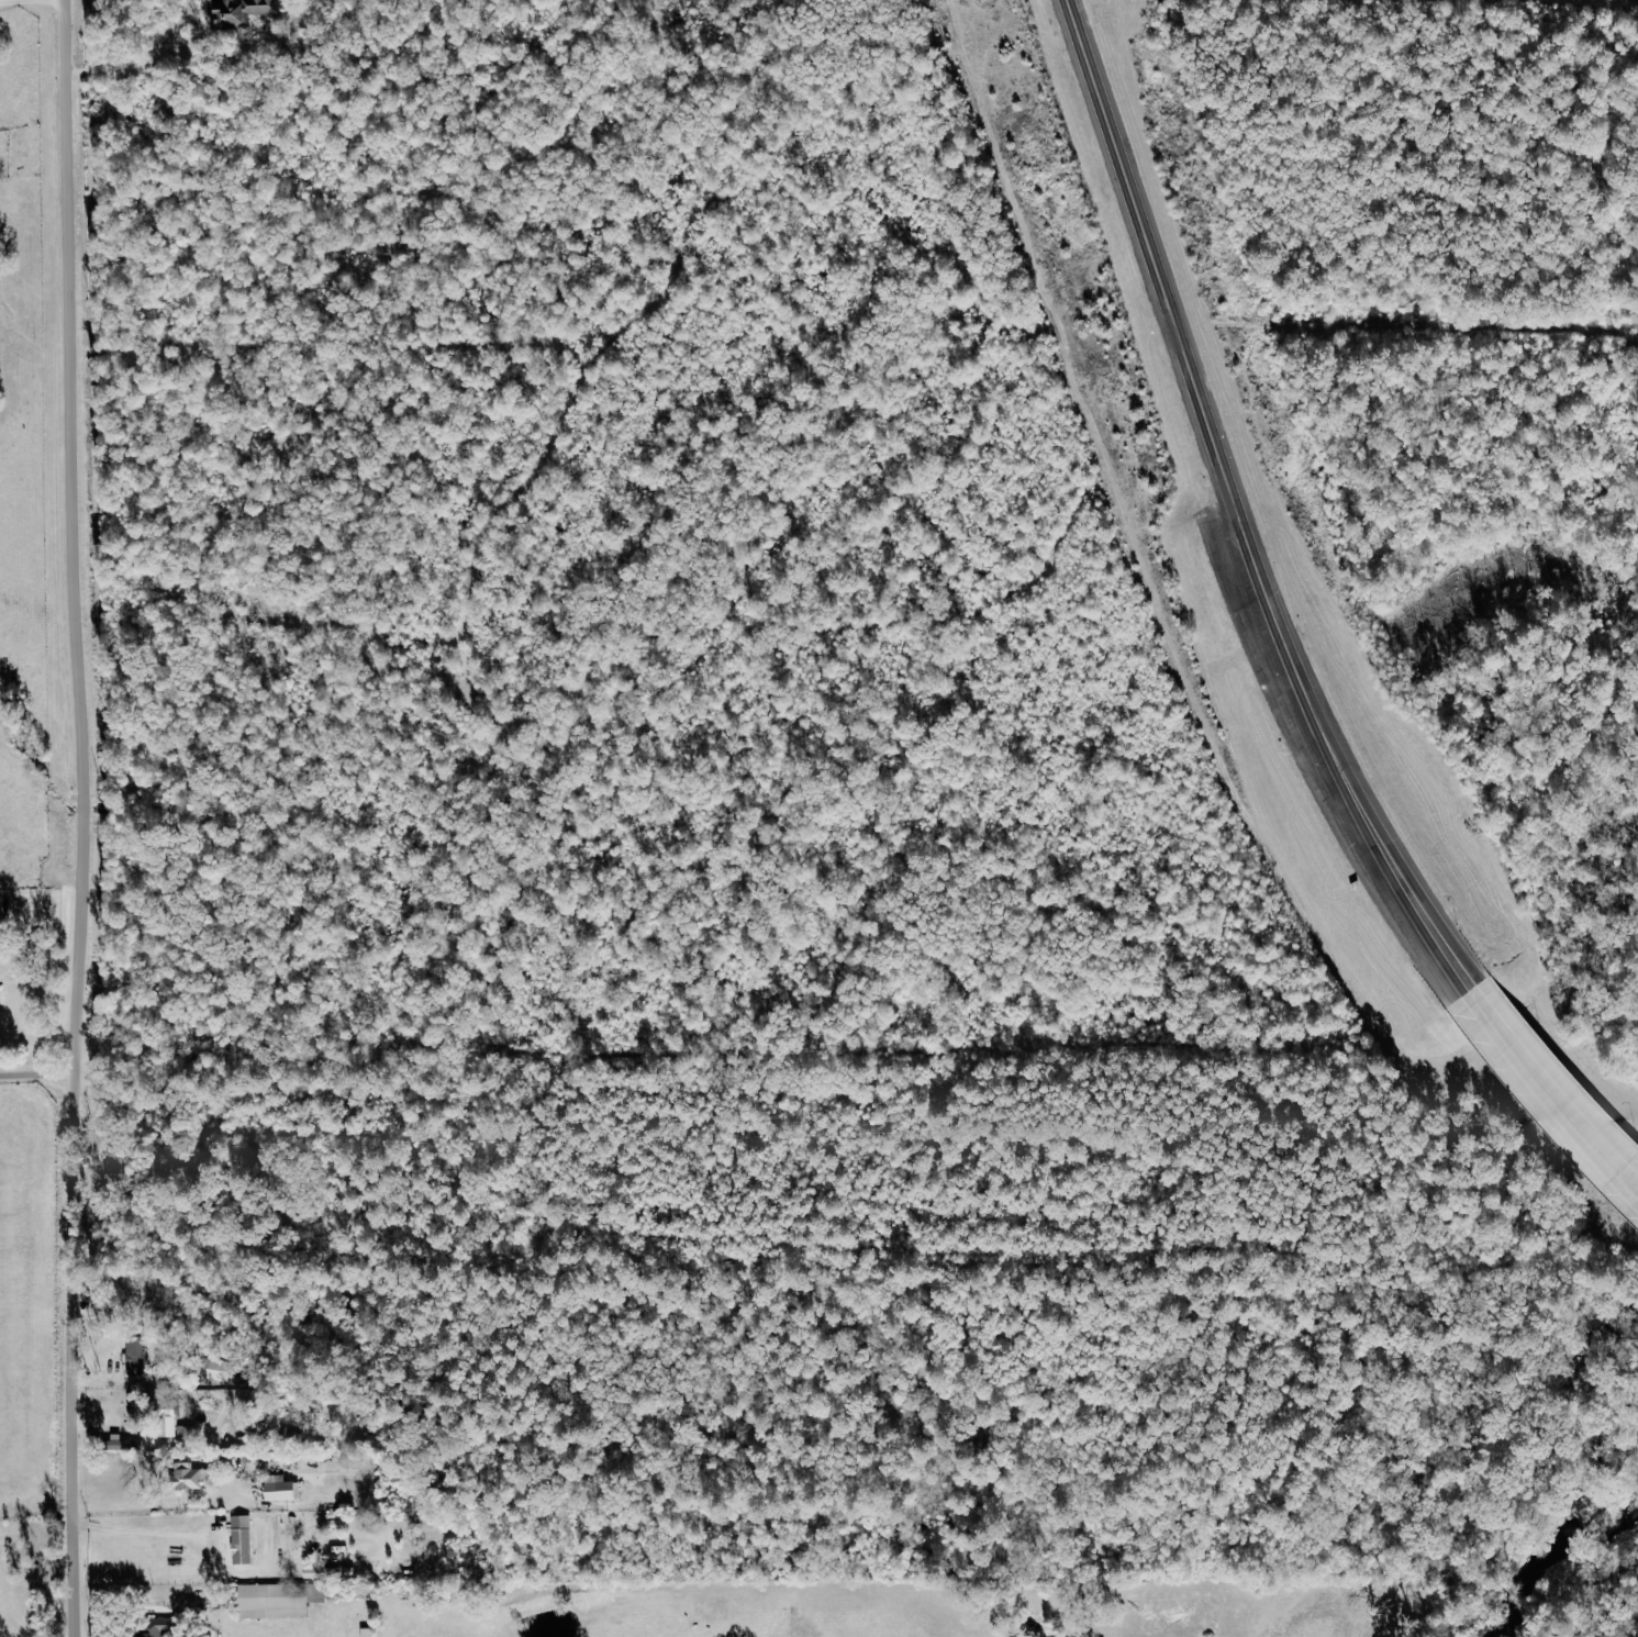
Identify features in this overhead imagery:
road: (30, 8)
building: (243, 13)
road: (143, 63)
road: (1232, 516)
road: (73, 817)
road: (38, 1078)
road: (1553, 1094)
building: (137, 1355)
building: (219, 1370)
building: (168, 1422)
building: (122, 1444)
building: (190, 1478)
building: (281, 1488)
road: (137, 1507)
road: (140, 1530)
building: (242, 1539)
river: (1559, 1560)
building: (330, 1572)
building: (278, 1600)
building: (158, 1627)
building: (368, 1632)

